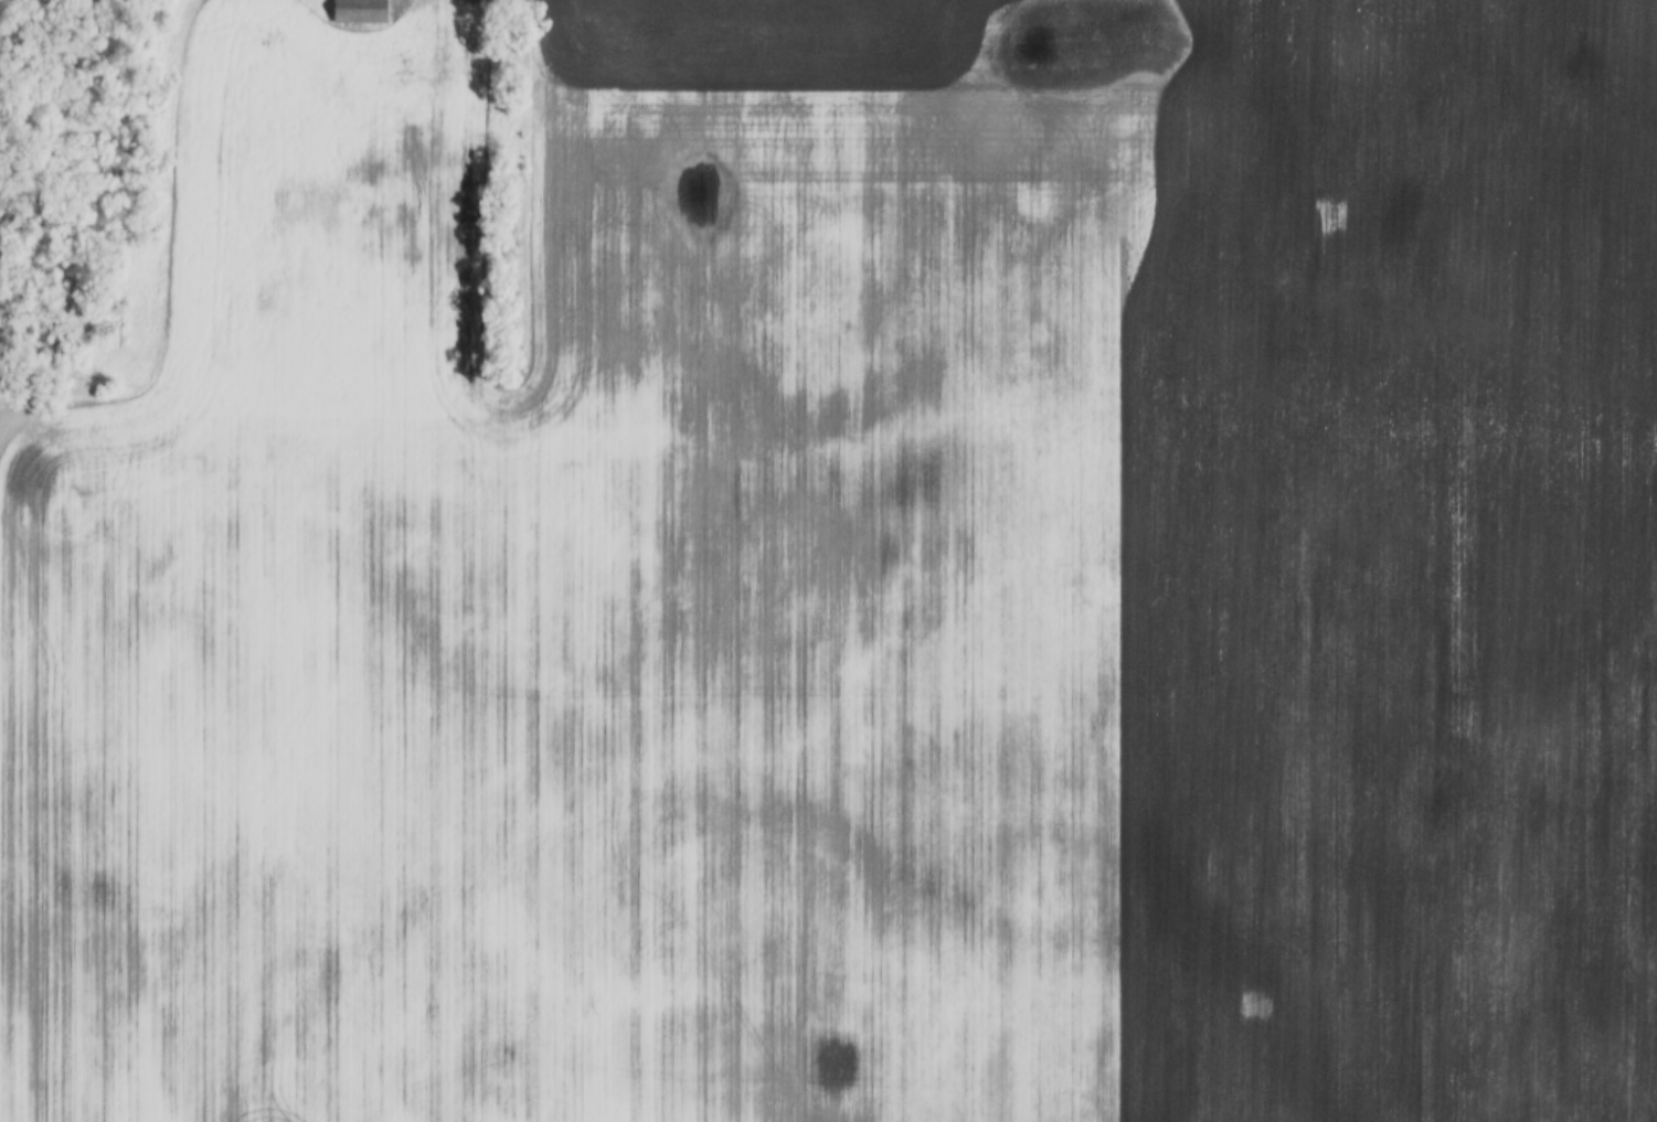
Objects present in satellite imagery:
building: (357, 11)

